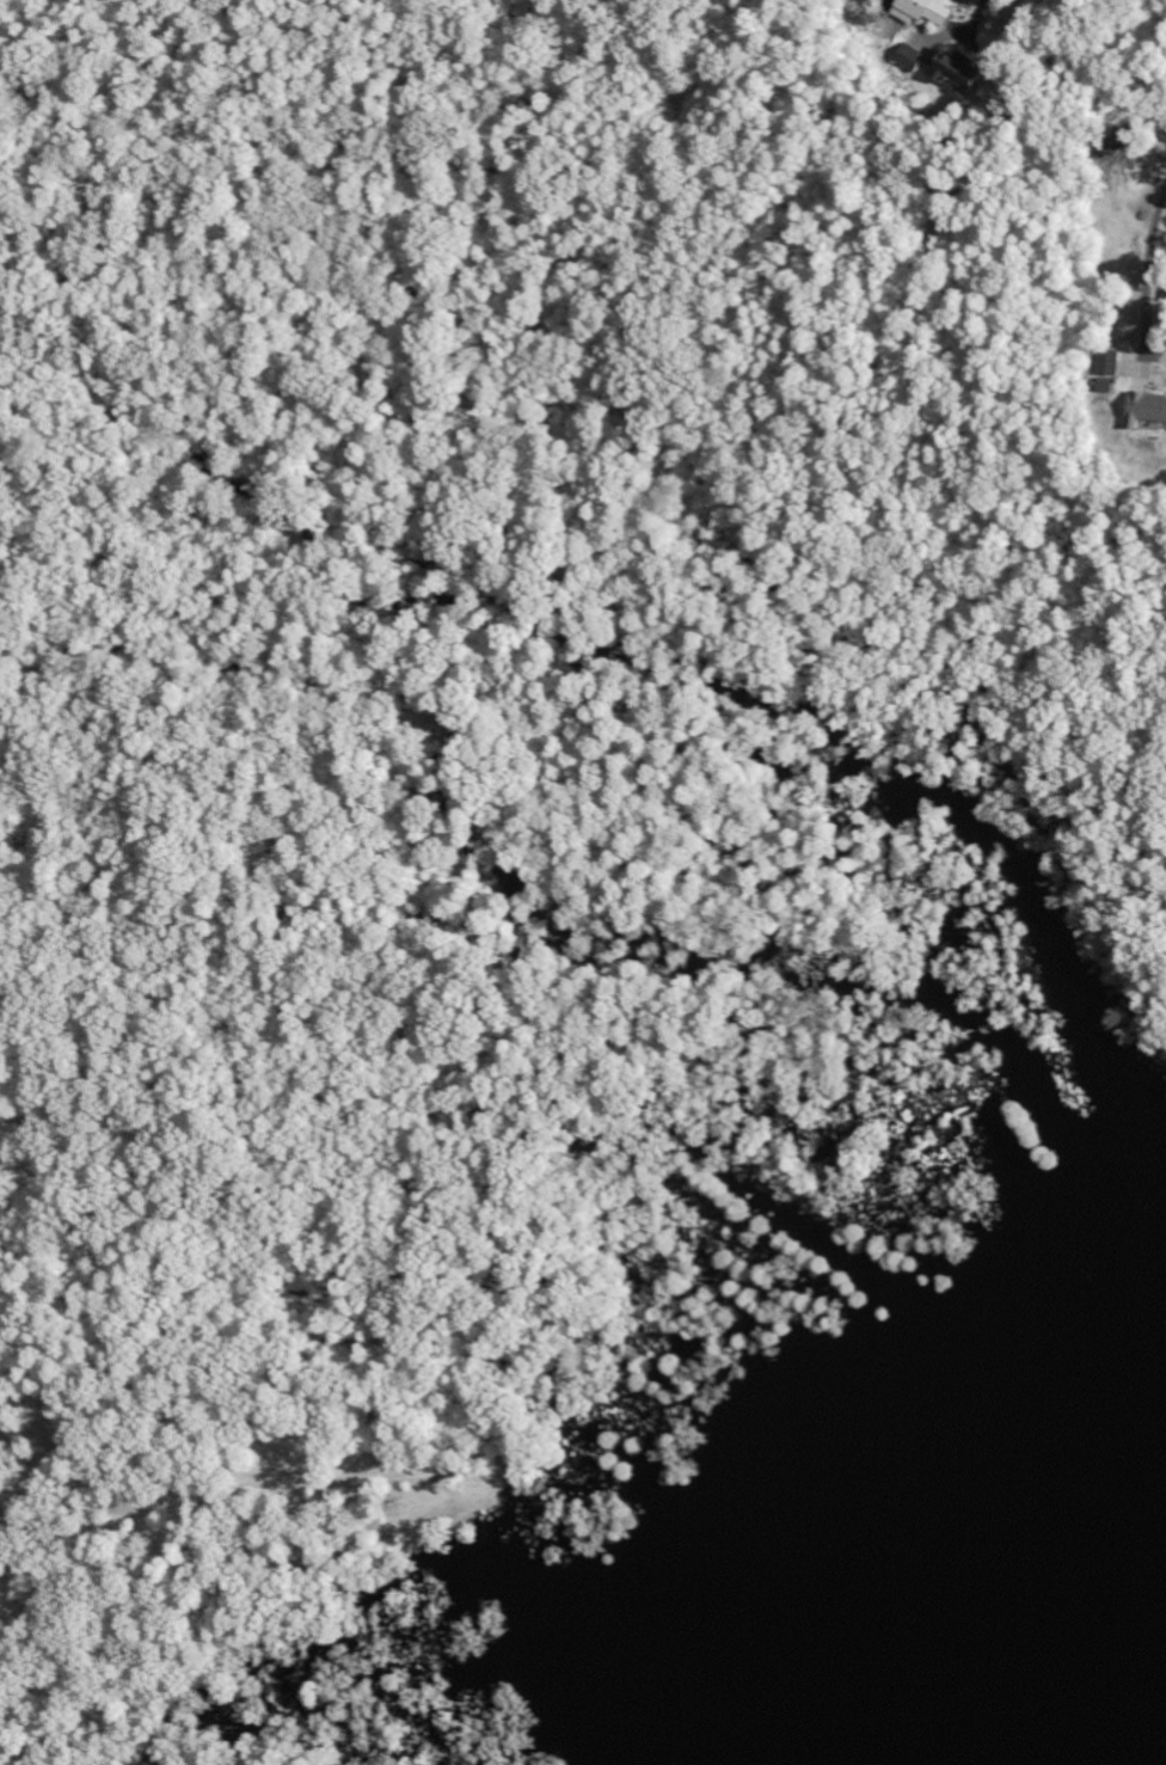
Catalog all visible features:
building: (919, 11)
building: (906, 56)
building: (950, 69)
building: (1106, 362)
building: (1104, 386)
building: (1144, 407)

